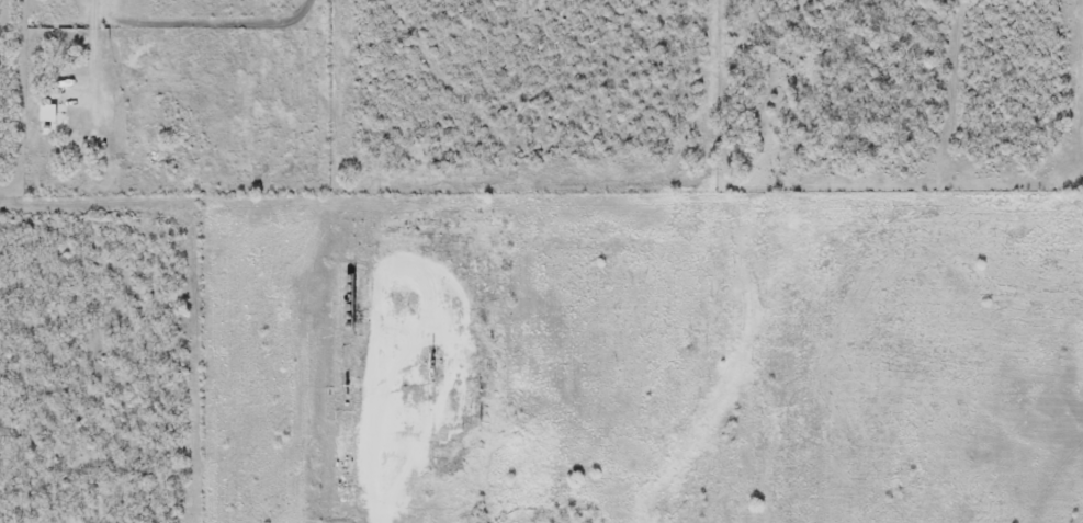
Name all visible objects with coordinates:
road: (93, 50)
building: (485, 423)

